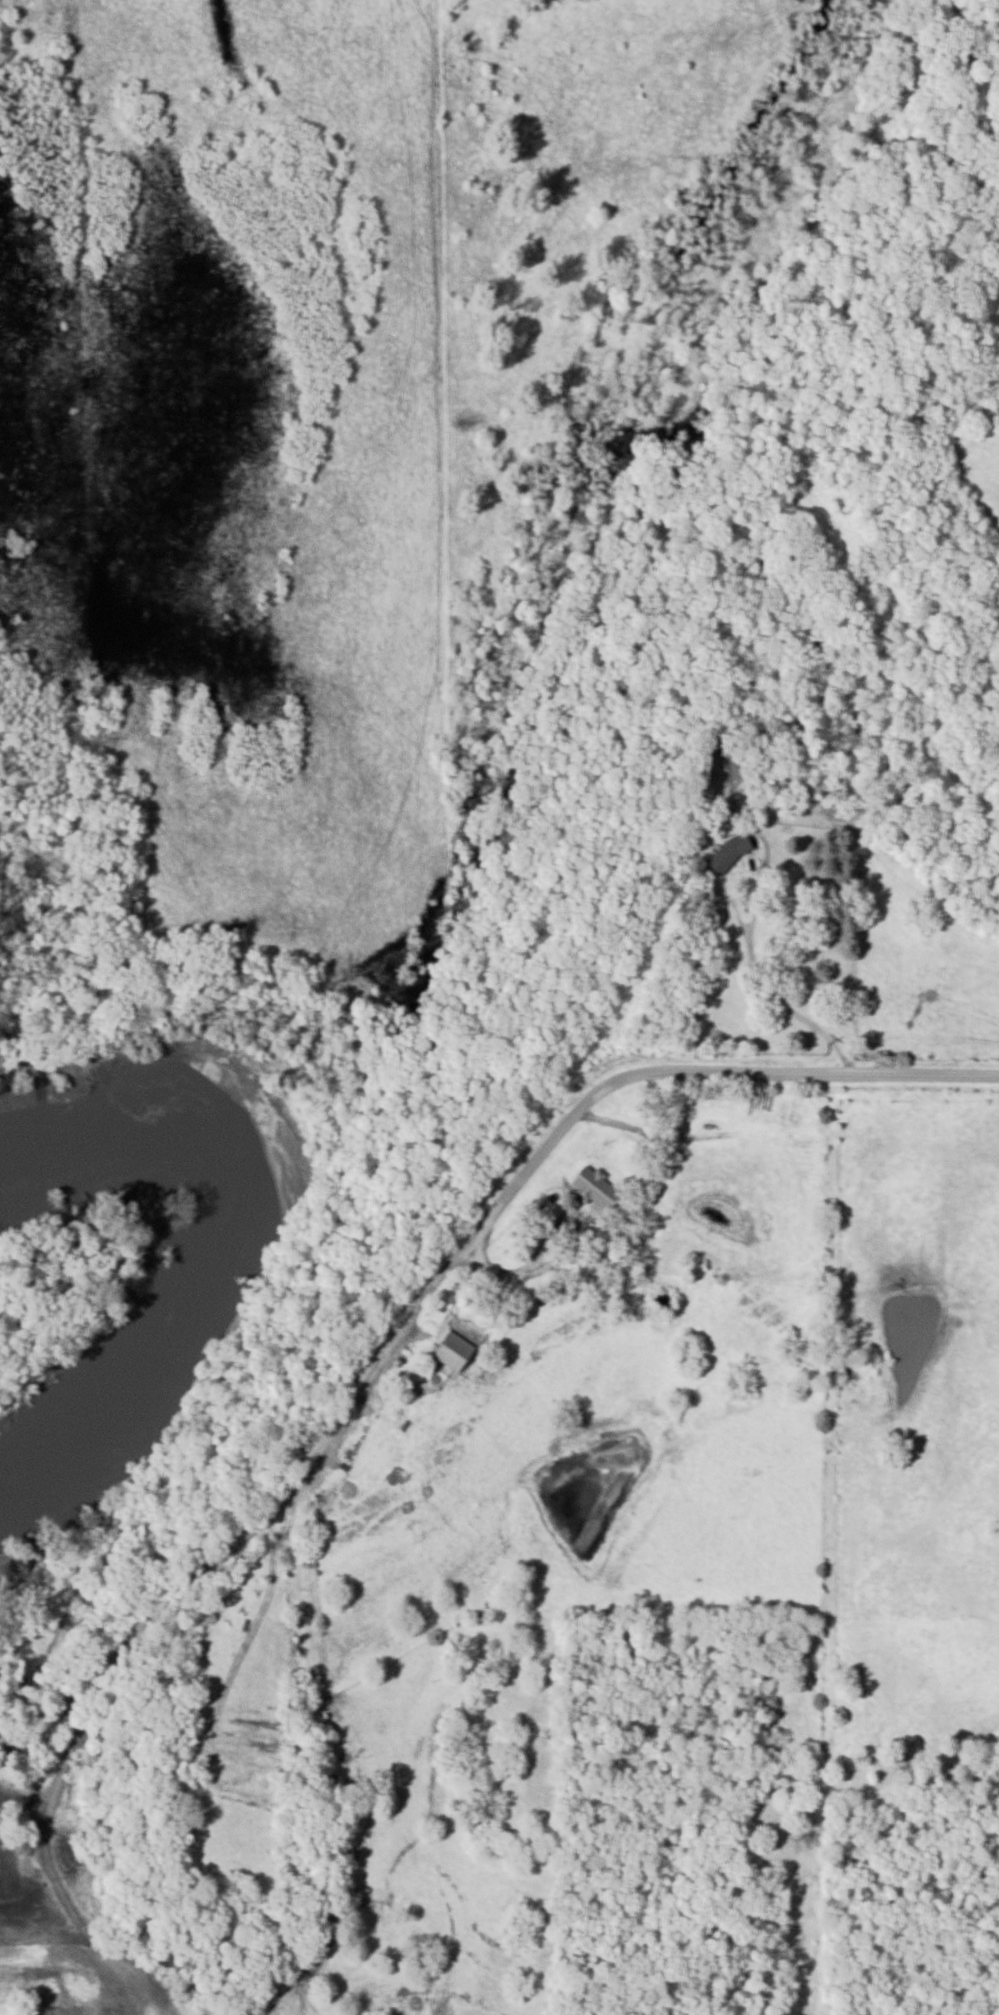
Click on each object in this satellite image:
road: (771, 993)
building: (590, 1188)
river: (247, 1212)
building: (550, 1228)
road: (442, 1286)
building: (449, 1351)

